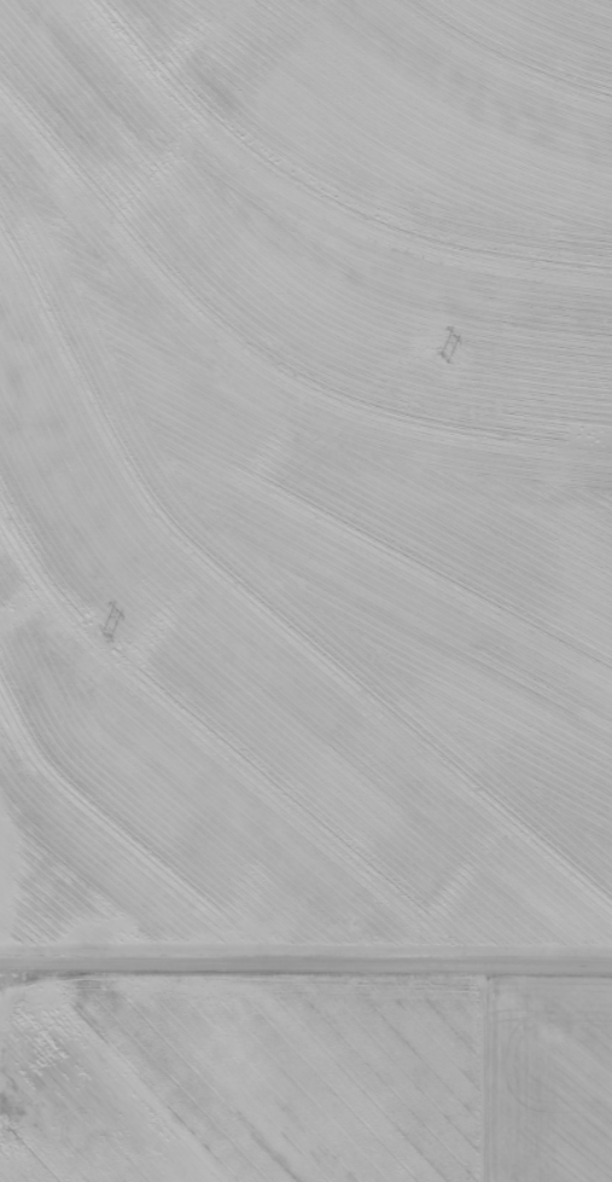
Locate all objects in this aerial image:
power tower: (448, 360)
power tower: (118, 628)
road: (305, 969)

